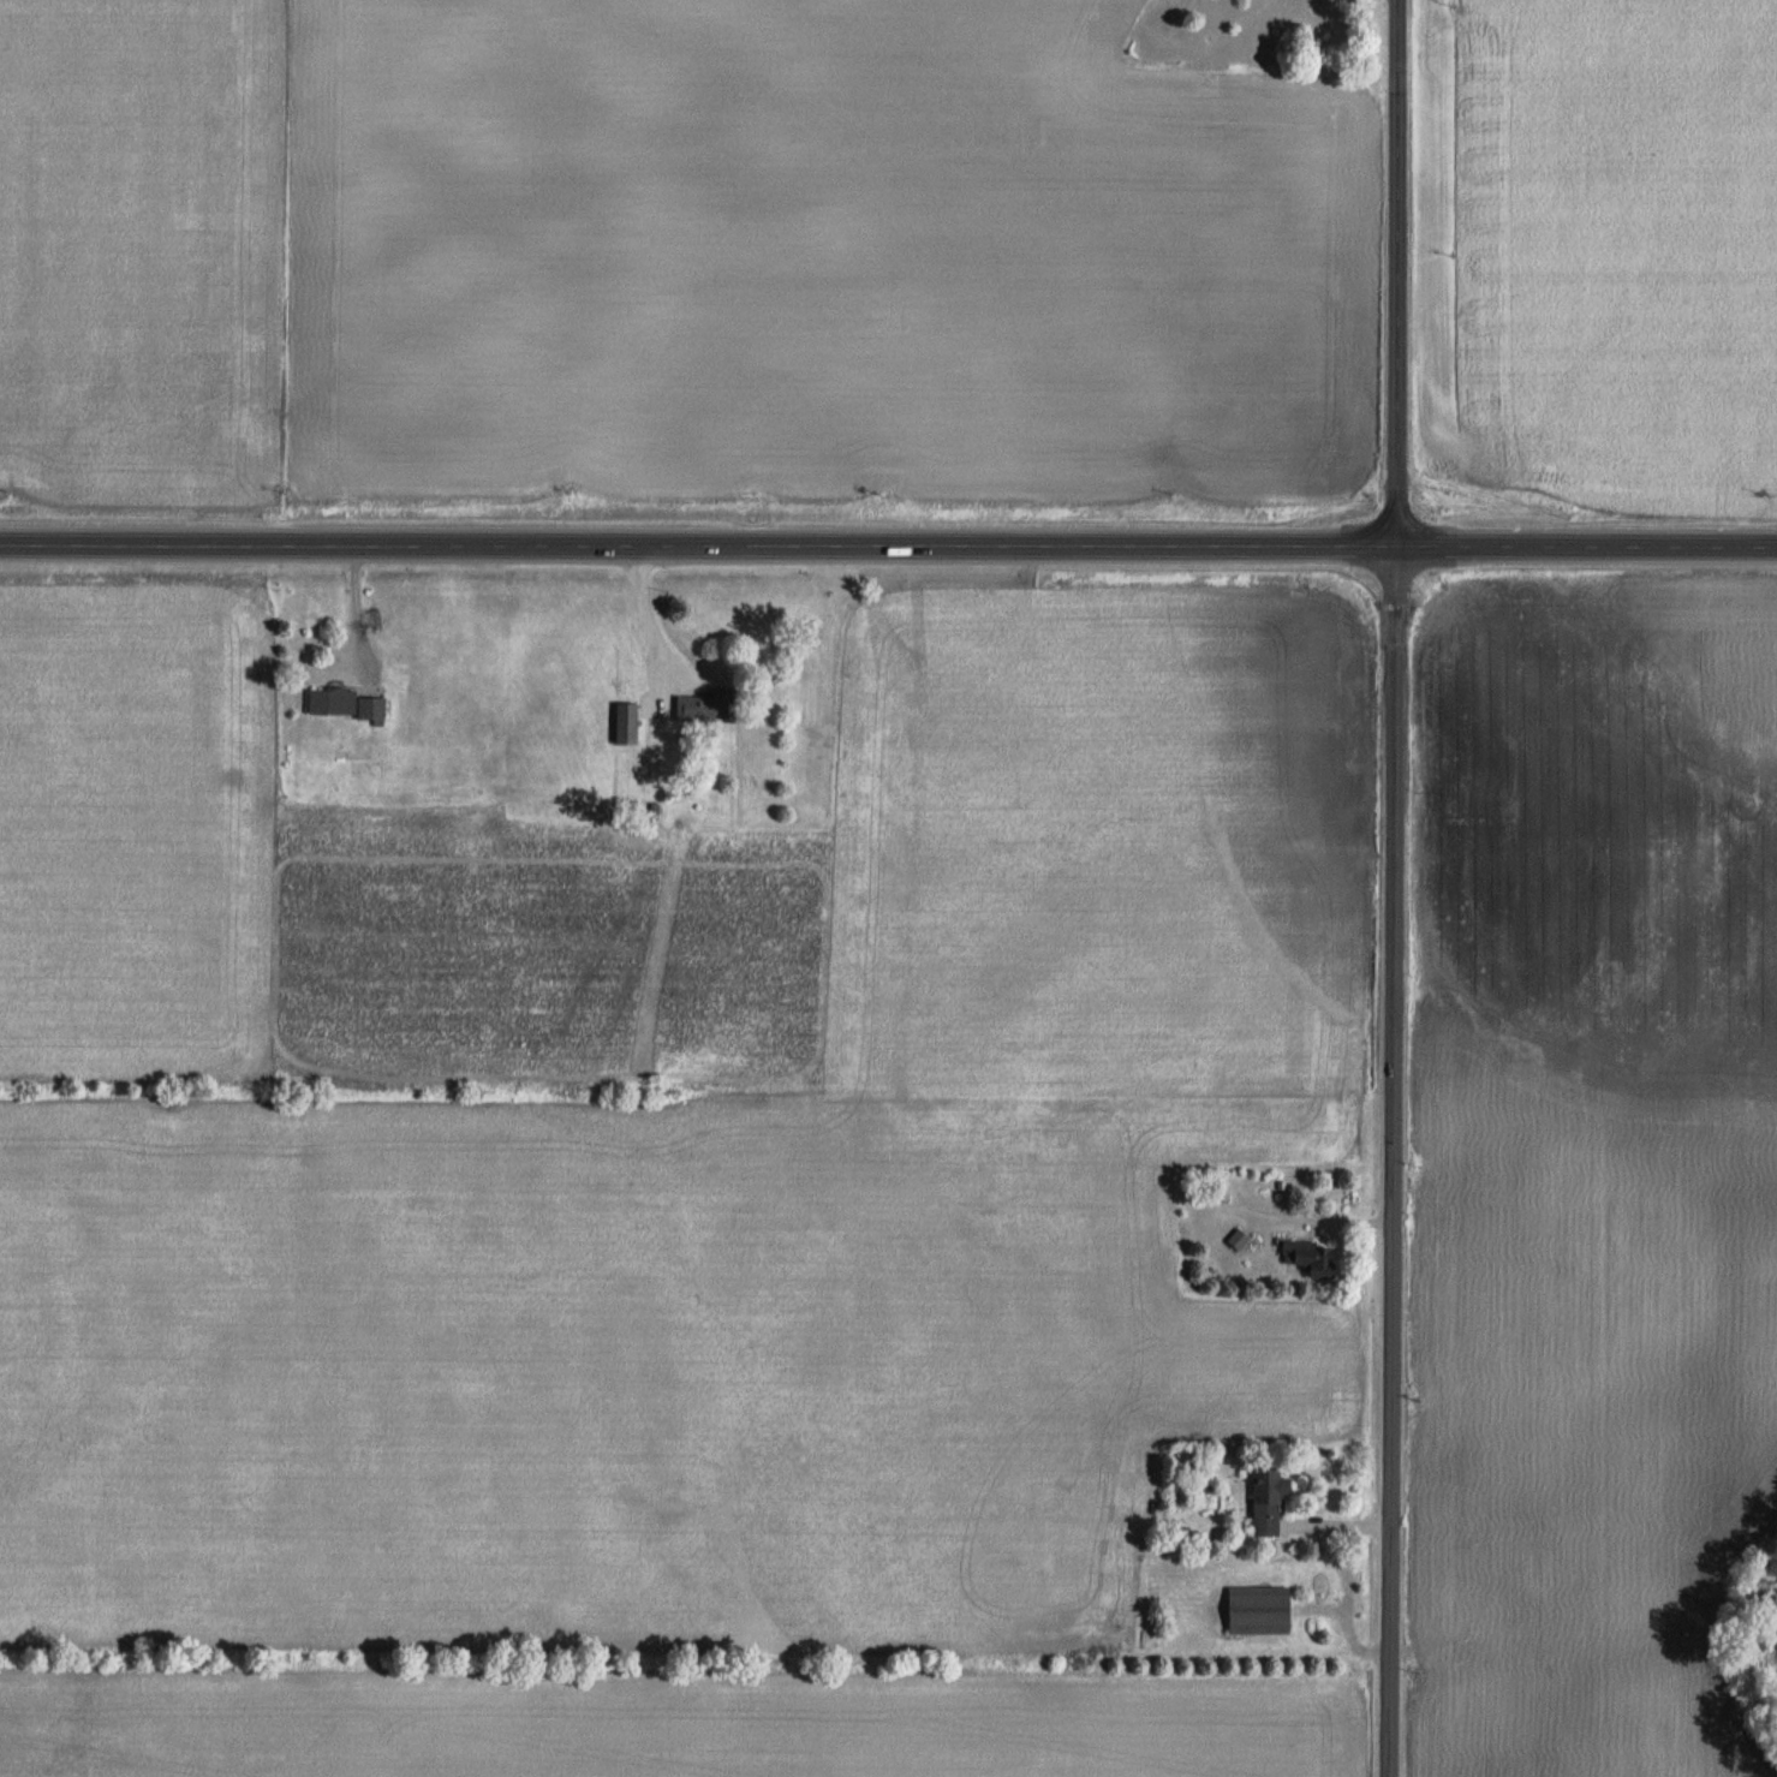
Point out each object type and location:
road: (888, 543)
road: (353, 609)
road: (644, 613)
building: (350, 704)
building: (709, 706)
building: (627, 722)
road: (1395, 888)
road: (1325, 1218)
building: (1312, 1257)
building: (1269, 1499)
building: (1259, 1610)

